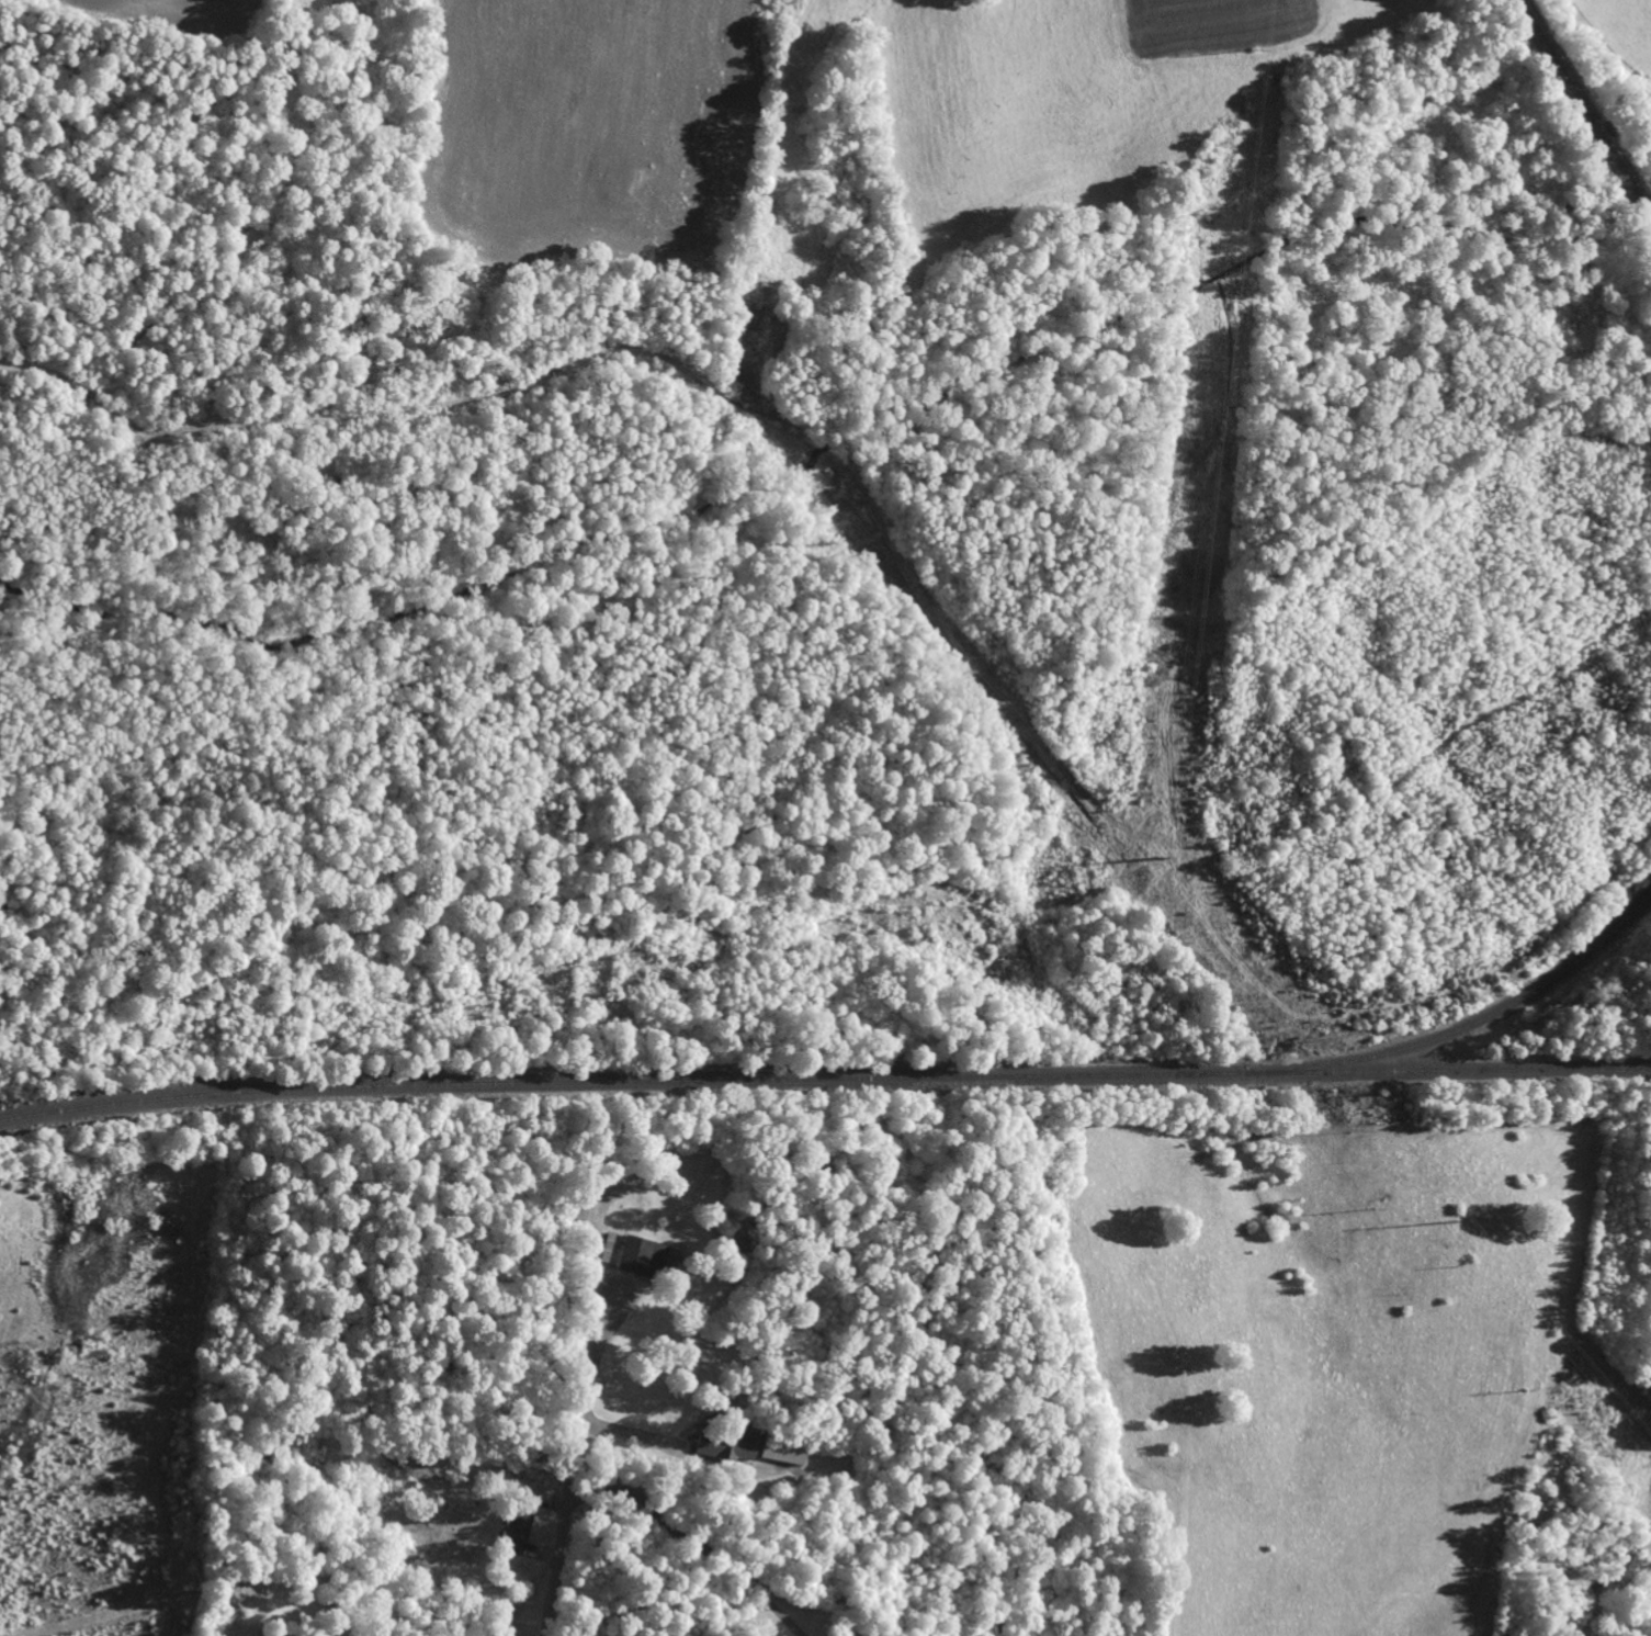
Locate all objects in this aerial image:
railway: (1584, 109)
railway: (1488, 1018)
railway: (824, 1080)
building: (636, 1255)
building: (735, 1444)
building: (779, 1447)
building: (514, 1530)
road: (562, 1548)

